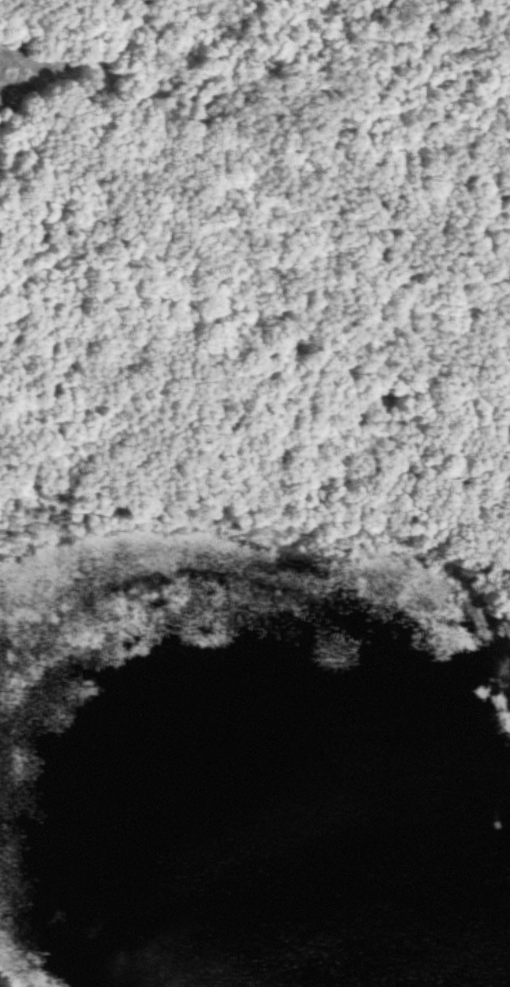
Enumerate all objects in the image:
road: (492, 634)
road: (488, 656)

